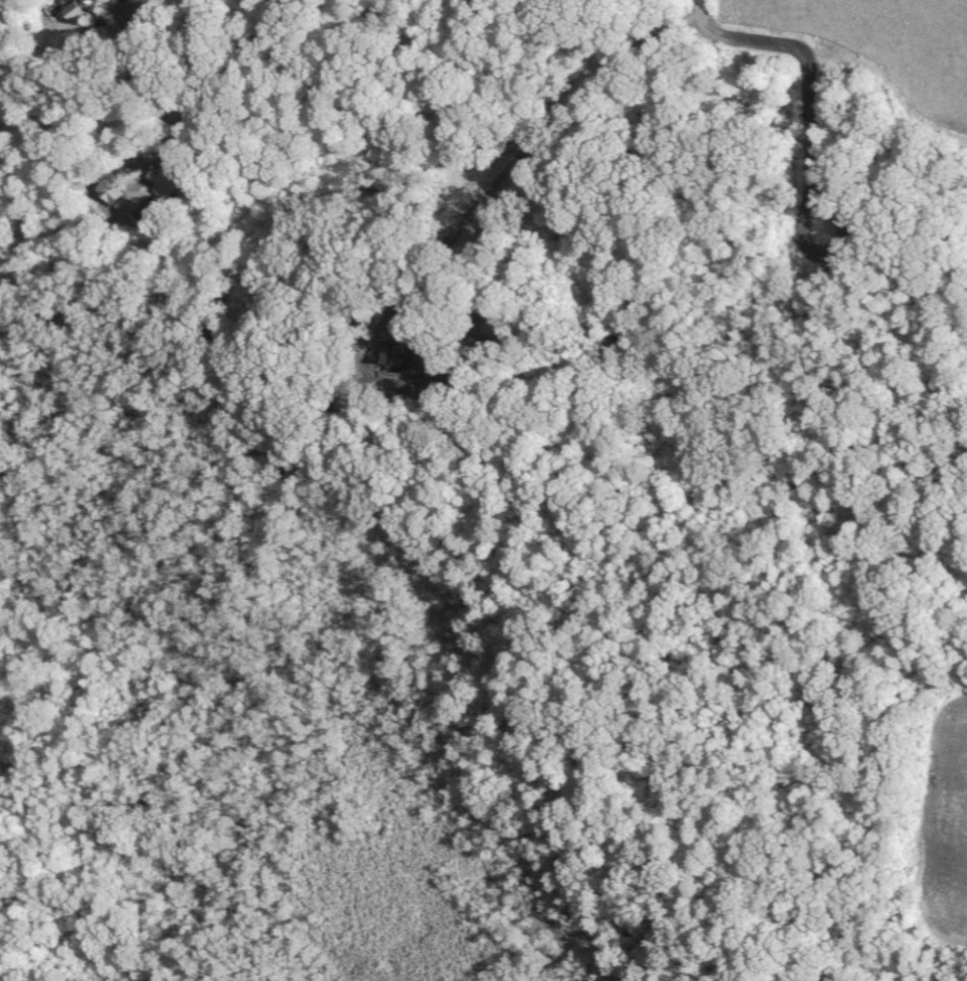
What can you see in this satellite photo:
road: (134, 2)
building: (77, 8)
crop: (882, 46)
road: (227, 71)
road: (807, 78)
road: (534, 133)
crop: (939, 820)

